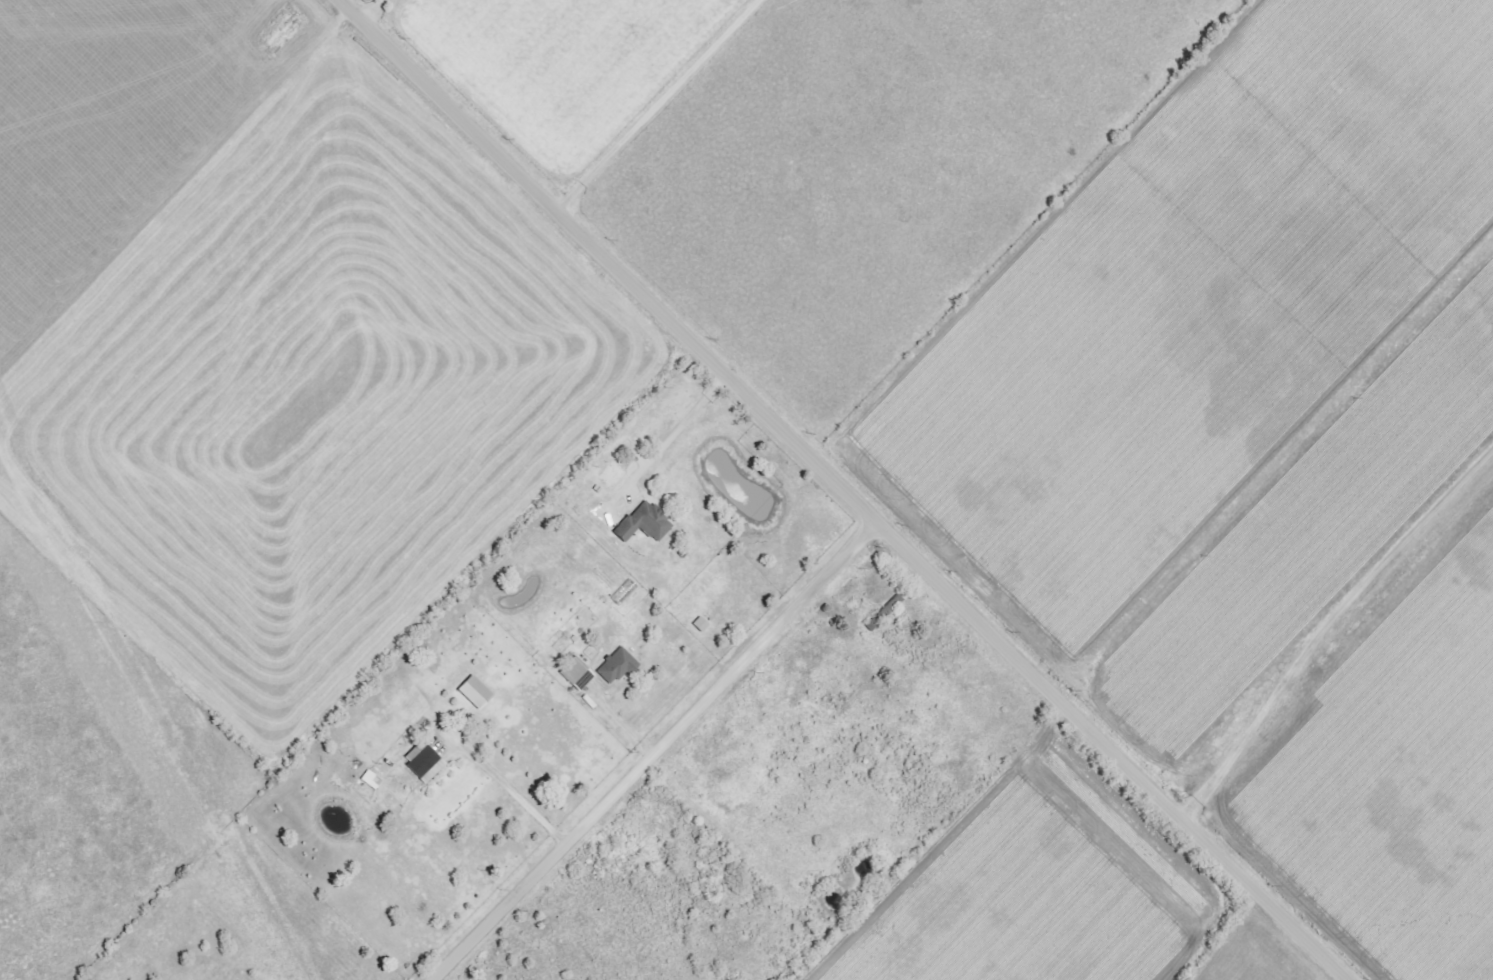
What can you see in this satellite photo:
road: (381, 11)
road: (668, 108)
road: (613, 263)
road: (675, 430)
building: (643, 523)
building: (699, 624)
road: (1333, 637)
building: (615, 666)
building: (576, 674)
building: (473, 692)
road: (1117, 752)
road: (658, 753)
building: (422, 762)
building: (370, 779)
road: (518, 799)

